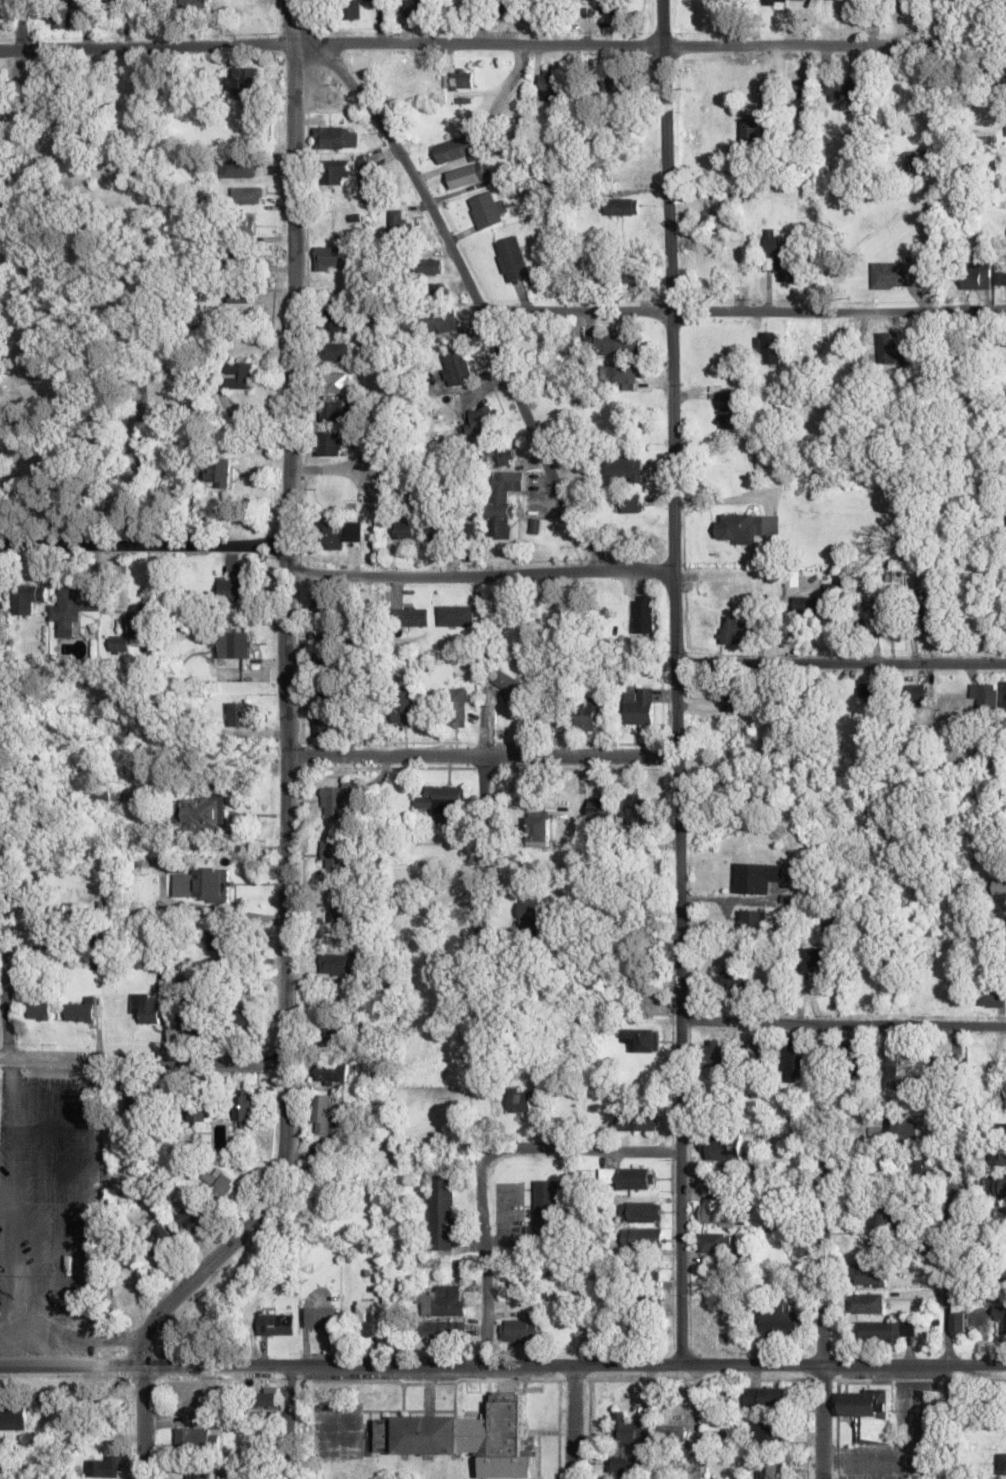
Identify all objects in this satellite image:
building: (768, 1)
building: (195, 3)
building: (857, 3)
building: (903, 3)
building: (952, 3)
building: (506, 5)
building: (610, 6)
building: (417, 8)
building: (352, 9)
building: (63, 18)
road: (21, 26)
road: (502, 47)
building: (459, 80)
building: (247, 82)
building: (549, 85)
building: (617, 85)
building: (842, 92)
building: (800, 95)
building: (756, 132)
building: (337, 136)
building: (454, 149)
building: (919, 161)
building: (239, 167)
building: (337, 171)
building: (468, 175)
building: (370, 181)
building: (248, 195)
building: (622, 206)
building: (485, 209)
building: (241, 223)
building: (398, 224)
building: (87, 253)
building: (784, 254)
building: (332, 258)
building: (512, 259)
building: (427, 266)
building: (892, 275)
building: (975, 275)
building: (634, 276)
building: (1000, 277)
building: (240, 292)
building: (432, 293)
road: (472, 297)
road: (742, 313)
building: (338, 321)
building: (441, 321)
building: (209, 323)
building: (1004, 340)
building: (613, 345)
building: (767, 347)
building: (891, 347)
building: (334, 351)
building: (455, 368)
building: (623, 374)
building: (240, 375)
building: (336, 383)
building: (733, 410)
building: (332, 412)
building: (483, 421)
building: (331, 443)
building: (501, 457)
building: (625, 468)
building: (217, 471)
building: (502, 501)
building: (745, 527)
building: (404, 529)
road: (285, 530)
building: (469, 530)
building: (435, 532)
building: (339, 533)
road: (142, 547)
road: (478, 577)
building: (234, 589)
building: (27, 598)
building: (324, 601)
building: (74, 605)
building: (806, 605)
building: (645, 613)
building: (931, 613)
building: (456, 615)
building: (411, 616)
building: (892, 618)
building: (142, 620)
building: (1, 627)
building: (730, 629)
building: (321, 633)
building: (119, 643)
building: (232, 644)
building: (318, 662)
road: (839, 664)
building: (503, 679)
road: (674, 682)
building: (868, 690)
building: (325, 695)
building: (913, 695)
building: (735, 696)
building: (985, 696)
building: (1004, 696)
building: (639, 705)
building: (455, 707)
building: (403, 711)
building: (590, 713)
building: (238, 714)
building: (514, 717)
building: (555, 720)
building: (321, 725)
road: (480, 757)
building: (97, 792)
building: (441, 798)
building: (338, 799)
building: (198, 812)
building: (600, 812)
building: (637, 812)
building: (539, 829)
road: (482, 849)
building: (337, 855)
building: (758, 877)
building: (201, 883)
building: (1003, 883)
building: (529, 905)
building: (632, 910)
building: (340, 912)
building: (751, 918)
building: (1001, 925)
building: (57, 936)
building: (220, 943)
building: (811, 960)
building: (881, 961)
building: (334, 963)
building: (735, 980)
road: (6, 992)
building: (991, 997)
building: (40, 1009)
building: (146, 1009)
building: (81, 1011)
building: (248, 1020)
road: (751, 1024)
building: (197, 1026)
road: (913, 1026)
building: (334, 1034)
building: (642, 1038)
building: (756, 1052)
building: (714, 1053)
road: (142, 1060)
building: (794, 1062)
building: (855, 1066)
building: (945, 1068)
building: (894, 1069)
building: (332, 1073)
building: (521, 1101)
building: (244, 1104)
building: (198, 1111)
building: (324, 1112)
building: (635, 1121)
building: (899, 1130)
building: (1002, 1130)
building: (723, 1147)
road: (581, 1150)
building: (998, 1156)
building: (926, 1167)
building: (608, 1173)
building: (637, 1178)
building: (221, 1181)
building: (995, 1187)
building: (545, 1205)
building: (642, 1211)
building: (716, 1211)
building: (442, 1212)
building: (191, 1216)
building: (881, 1216)
building: (163, 1234)
building: (643, 1237)
building: (714, 1242)
building: (880, 1248)
road: (821, 1252)
road: (946, 1252)
road: (484, 1263)
road: (204, 1268)
building: (646, 1270)
building: (870, 1275)
building: (653, 1298)
building: (445, 1300)
building: (867, 1303)
building: (321, 1318)
building: (367, 1318)
building: (1002, 1319)
building: (274, 1323)
building: (783, 1323)
building: (958, 1323)
building: (706, 1325)
building: (633, 1327)
building: (519, 1331)
building: (884, 1331)
building: (443, 1332)
traffic signals: (144, 1367)
road: (411, 1367)
road: (914, 1368)
building: (766, 1396)
building: (267, 1398)
building: (191, 1400)
building: (868, 1413)
building: (13, 1415)
road: (288, 1422)
road: (695, 1422)
road: (571, 1423)
building: (628, 1429)
building: (770, 1432)
building: (674, 1433)
building: (465, 1436)
building: (196, 1438)
building: (626, 1463)
building: (1002, 1464)
building: (101, 1467)
building: (774, 1467)
building: (204, 1475)

